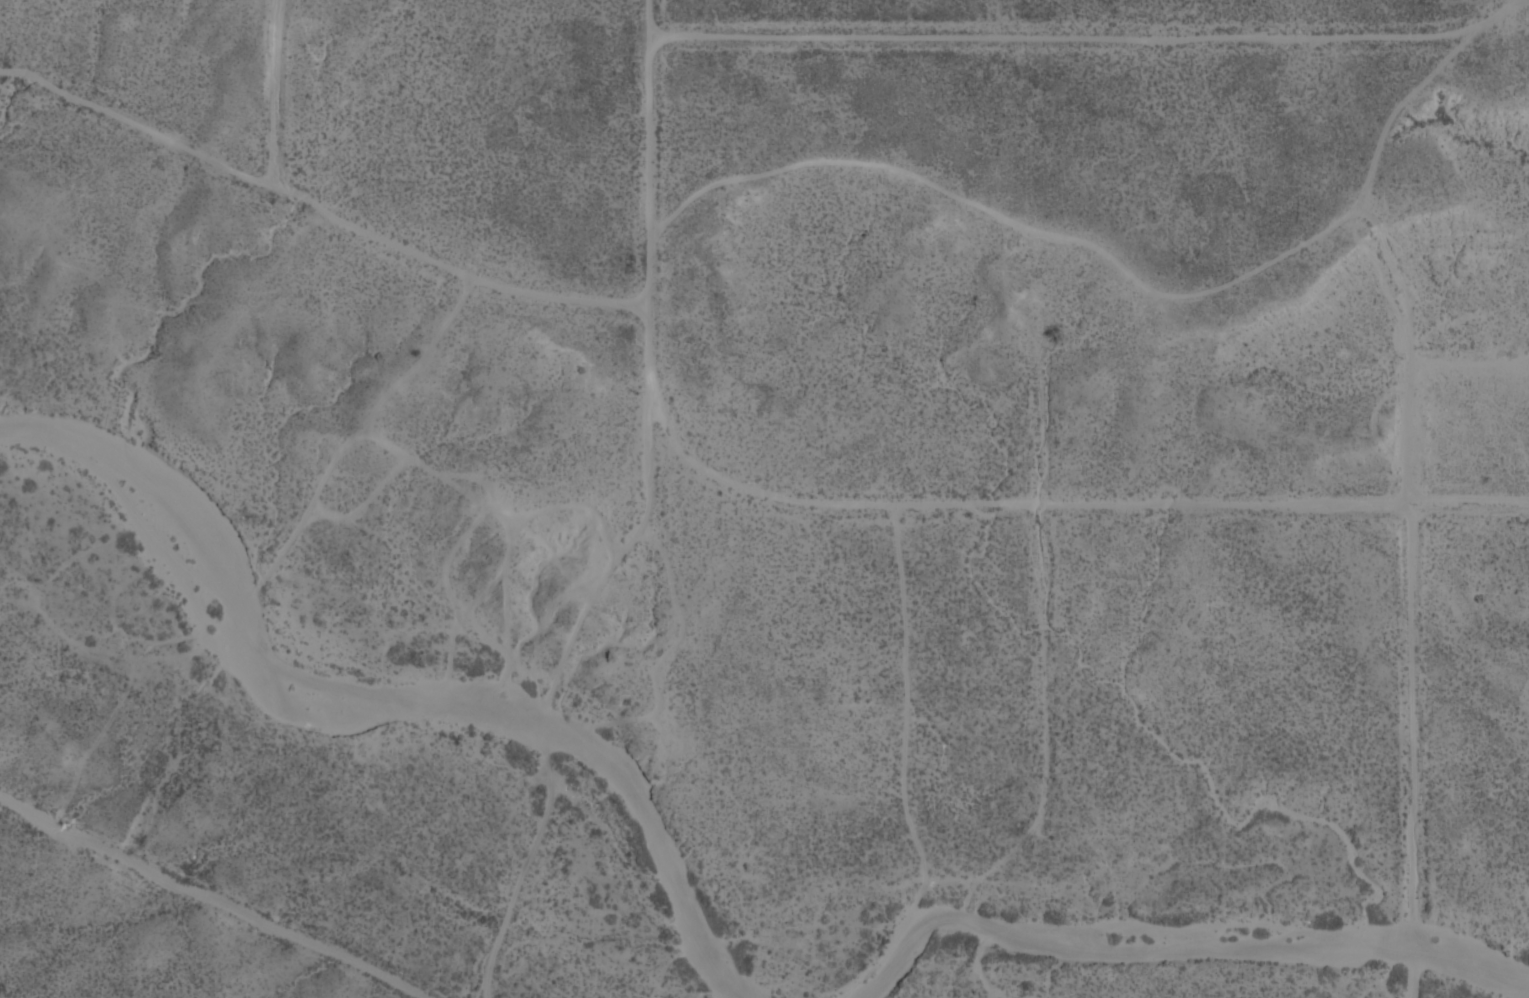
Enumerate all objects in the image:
road: (649, 203)
road: (319, 210)
road: (651, 478)
road: (755, 491)
road: (210, 899)

